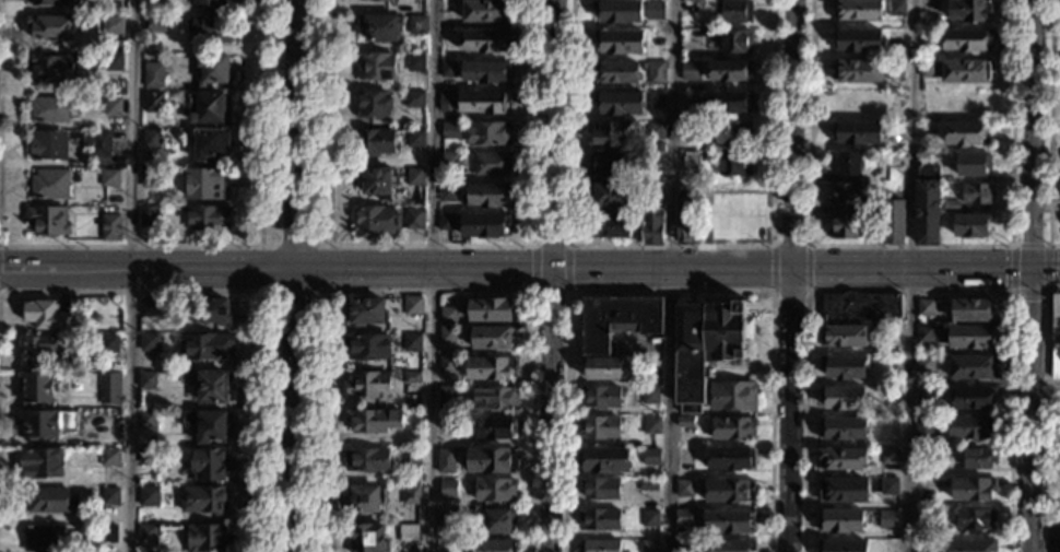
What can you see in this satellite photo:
building: (379, 0)
building: (48, 3)
building: (209, 4)
building: (896, 8)
building: (930, 8)
building: (653, 9)
building: (858, 10)
building: (486, 11)
building: (619, 11)
building: (734, 11)
building: (968, 11)
building: (448, 21)
building: (156, 23)
building: (113, 25)
building: (417, 25)
building: (50, 27)
building: (209, 27)
building: (380, 27)
building: (931, 37)
building: (966, 39)
building: (858, 40)
building: (486, 42)
building: (620, 42)
building: (733, 42)
building: (113, 62)
building: (415, 62)
building: (377, 67)
building: (51, 68)
building: (211, 69)
building: (894, 69)
building: (928, 69)
building: (448, 70)
building: (486, 71)
building: (691, 71)
building: (729, 71)
building: (857, 71)
building: (965, 71)
building: (617, 72)
building: (656, 72)
building: (153, 75)
building: (415, 99)
building: (656, 99)
building: (928, 101)
building: (447, 102)
building: (726, 102)
building: (969, 102)
building: (152, 103)
building: (482, 103)
building: (619, 103)
building: (374, 104)
building: (113, 107)
building: (208, 108)
building: (49, 109)
road: (1049, 128)
building: (688, 129)
building: (656, 130)
building: (450, 131)
building: (857, 132)
building: (488, 133)
building: (614, 133)
building: (966, 133)
building: (733, 134)
building: (416, 138)
building: (151, 139)
building: (374, 142)
building: (210, 144)
building: (656, 146)
building: (48, 152)
building: (704, 156)
building: (450, 161)
building: (894, 161)
building: (692, 163)
building: (492, 164)
building: (611, 164)
building: (849, 164)
building: (734, 165)
building: (971, 165)
building: (416, 176)
building: (873, 177)
building: (109, 178)
building: (151, 178)
building: (379, 183)
building: (49, 185)
building: (207, 185)
building: (447, 193)
building: (976, 193)
building: (610, 195)
building: (849, 195)
building: (486, 196)
building: (928, 198)
building: (951, 205)
building: (150, 215)
building: (687, 216)
building: (209, 218)
building: (415, 219)
building: (376, 220)
building: (47, 221)
building: (447, 222)
building: (892, 222)
building: (652, 223)
building: (609, 225)
building: (970, 225)
building: (482, 226)
building: (849, 226)
building: (110, 227)
road: (1013, 245)
road: (252, 246)
road: (260, 246)
road: (429, 246)
road: (550, 246)
road: (670, 246)
road: (789, 246)
road: (908, 246)
road: (529, 265)
road: (531, 268)
road: (567, 268)
road: (772, 268)
road: (806, 268)
traffic signals: (0, 271)
road: (133, 275)
road: (296, 275)
road: (434, 275)
road: (551, 275)
road: (669, 275)
road: (796, 275)
road: (910, 275)
road: (1029, 275)
road: (259, 291)
road: (431, 291)
road: (549, 291)
road: (669, 291)
road: (789, 291)
road: (908, 291)
building: (413, 306)
building: (150, 307)
building: (859, 307)
building: (924, 308)
building: (492, 310)
building: (973, 310)
building: (212, 312)
building: (365, 312)
building: (448, 315)
building: (48, 316)
building: (617, 320)
building: (447, 334)
building: (931, 334)
building: (843, 336)
building: (971, 337)
building: (1055, 337)
building: (491, 338)
building: (150, 342)
building: (108, 343)
building: (412, 343)
building: (367, 347)
building: (705, 347)
building: (205, 348)
building: (39, 349)
building: (447, 364)
building: (924, 364)
building: (843, 366)
building: (491, 367)
building: (973, 367)
building: (603, 368)
building: (412, 378)
building: (148, 380)
building: (368, 386)
building: (39, 387)
building: (109, 388)
building: (212, 388)
road: (1044, 389)
building: (892, 392)
building: (924, 394)
building: (650, 395)
building: (732, 396)
building: (599, 397)
building: (973, 397)
building: (446, 398)
building: (844, 398)
building: (495, 399)
road: (1044, 414)
building: (149, 420)
building: (373, 420)
building: (684, 422)
building: (46, 423)
building: (207, 425)
building: (651, 425)
building: (446, 426)
building: (599, 427)
building: (973, 427)
building: (495, 428)
building: (733, 428)
building: (841, 428)
building: (923, 428)
building: (888, 456)
building: (148, 457)
building: (412, 457)
building: (651, 457)
building: (109, 458)
building: (730, 458)
building: (978, 458)
building: (840, 459)
building: (367, 460)
building: (490, 460)
building: (603, 460)
building: (446, 461)
building: (40, 463)
building: (209, 466)
building: (888, 485)
building: (649, 488)
building: (684, 488)
building: (448, 489)
building: (495, 490)
building: (600, 490)
building: (843, 490)
building: (973, 490)
building: (727, 491)
building: (410, 495)
building: (110, 497)
building: (149, 497)
building: (366, 498)
building: (49, 501)
building: (204, 501)
building: (888, 517)
building: (446, 518)
building: (650, 518)
building: (684, 518)
building: (975, 519)
building: (496, 520)
building: (599, 520)
building: (839, 520)
building: (729, 521)
road: (1044, 530)
building: (108, 533)
building: (148, 535)
building: (409, 535)
building: (208, 538)
building: (43, 539)
building: (368, 539)
building: (494, 545)
building: (599, 545)
building: (650, 545)
building: (684, 545)
building: (841, 545)
building: (971, 545)
building: (730, 547)
building: (923, 547)

